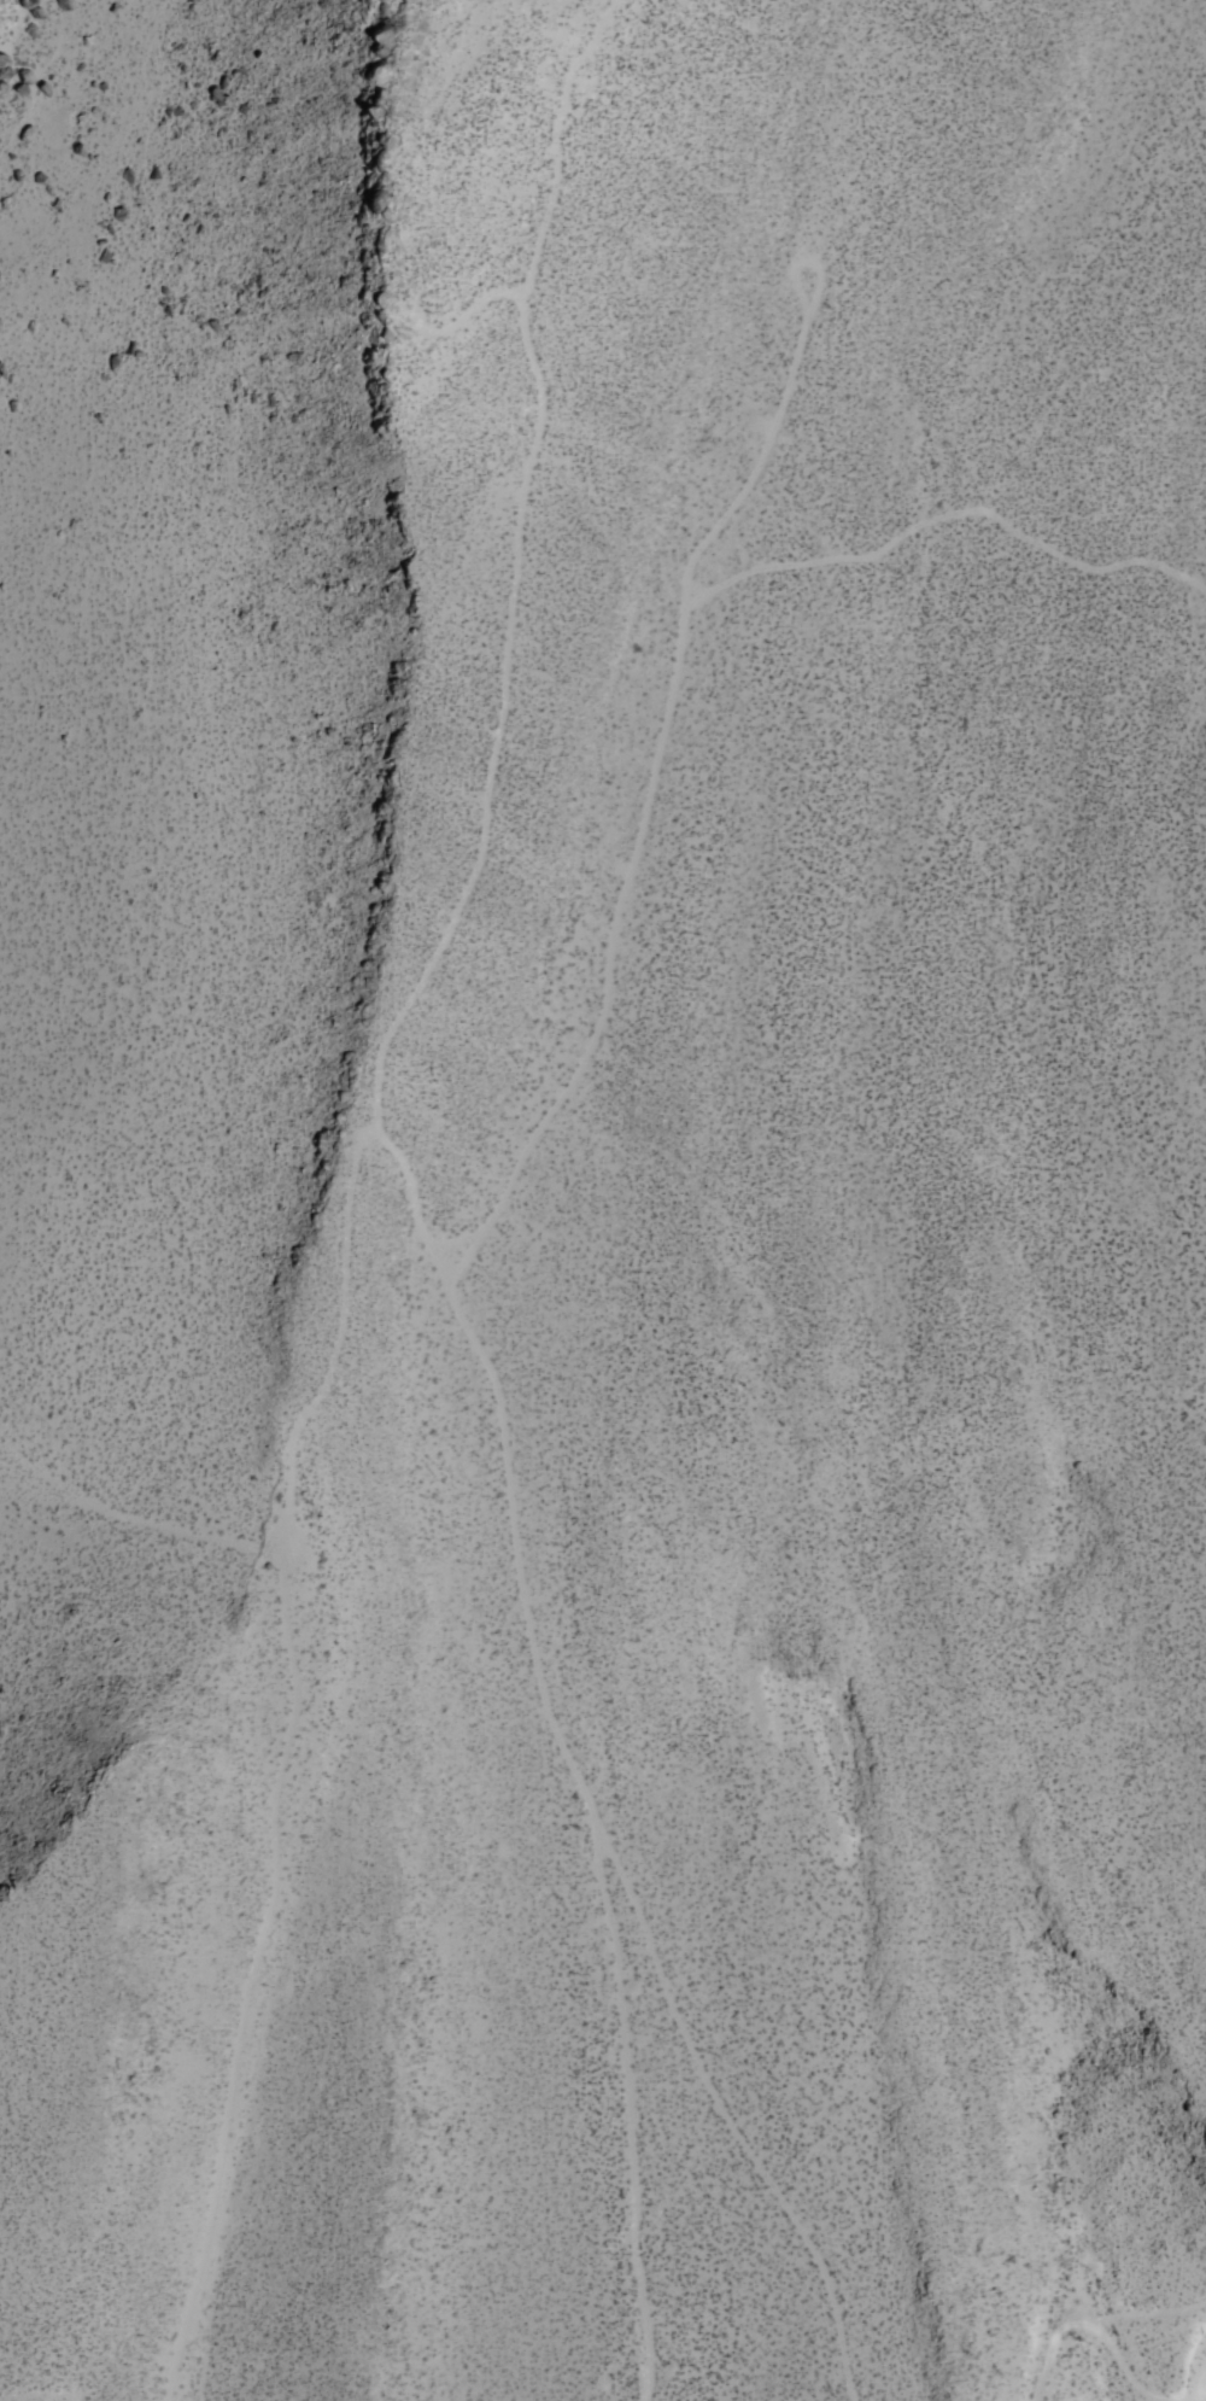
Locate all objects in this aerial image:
road: (439, 924)
road: (210, 2251)
road: (1099, 2312)

